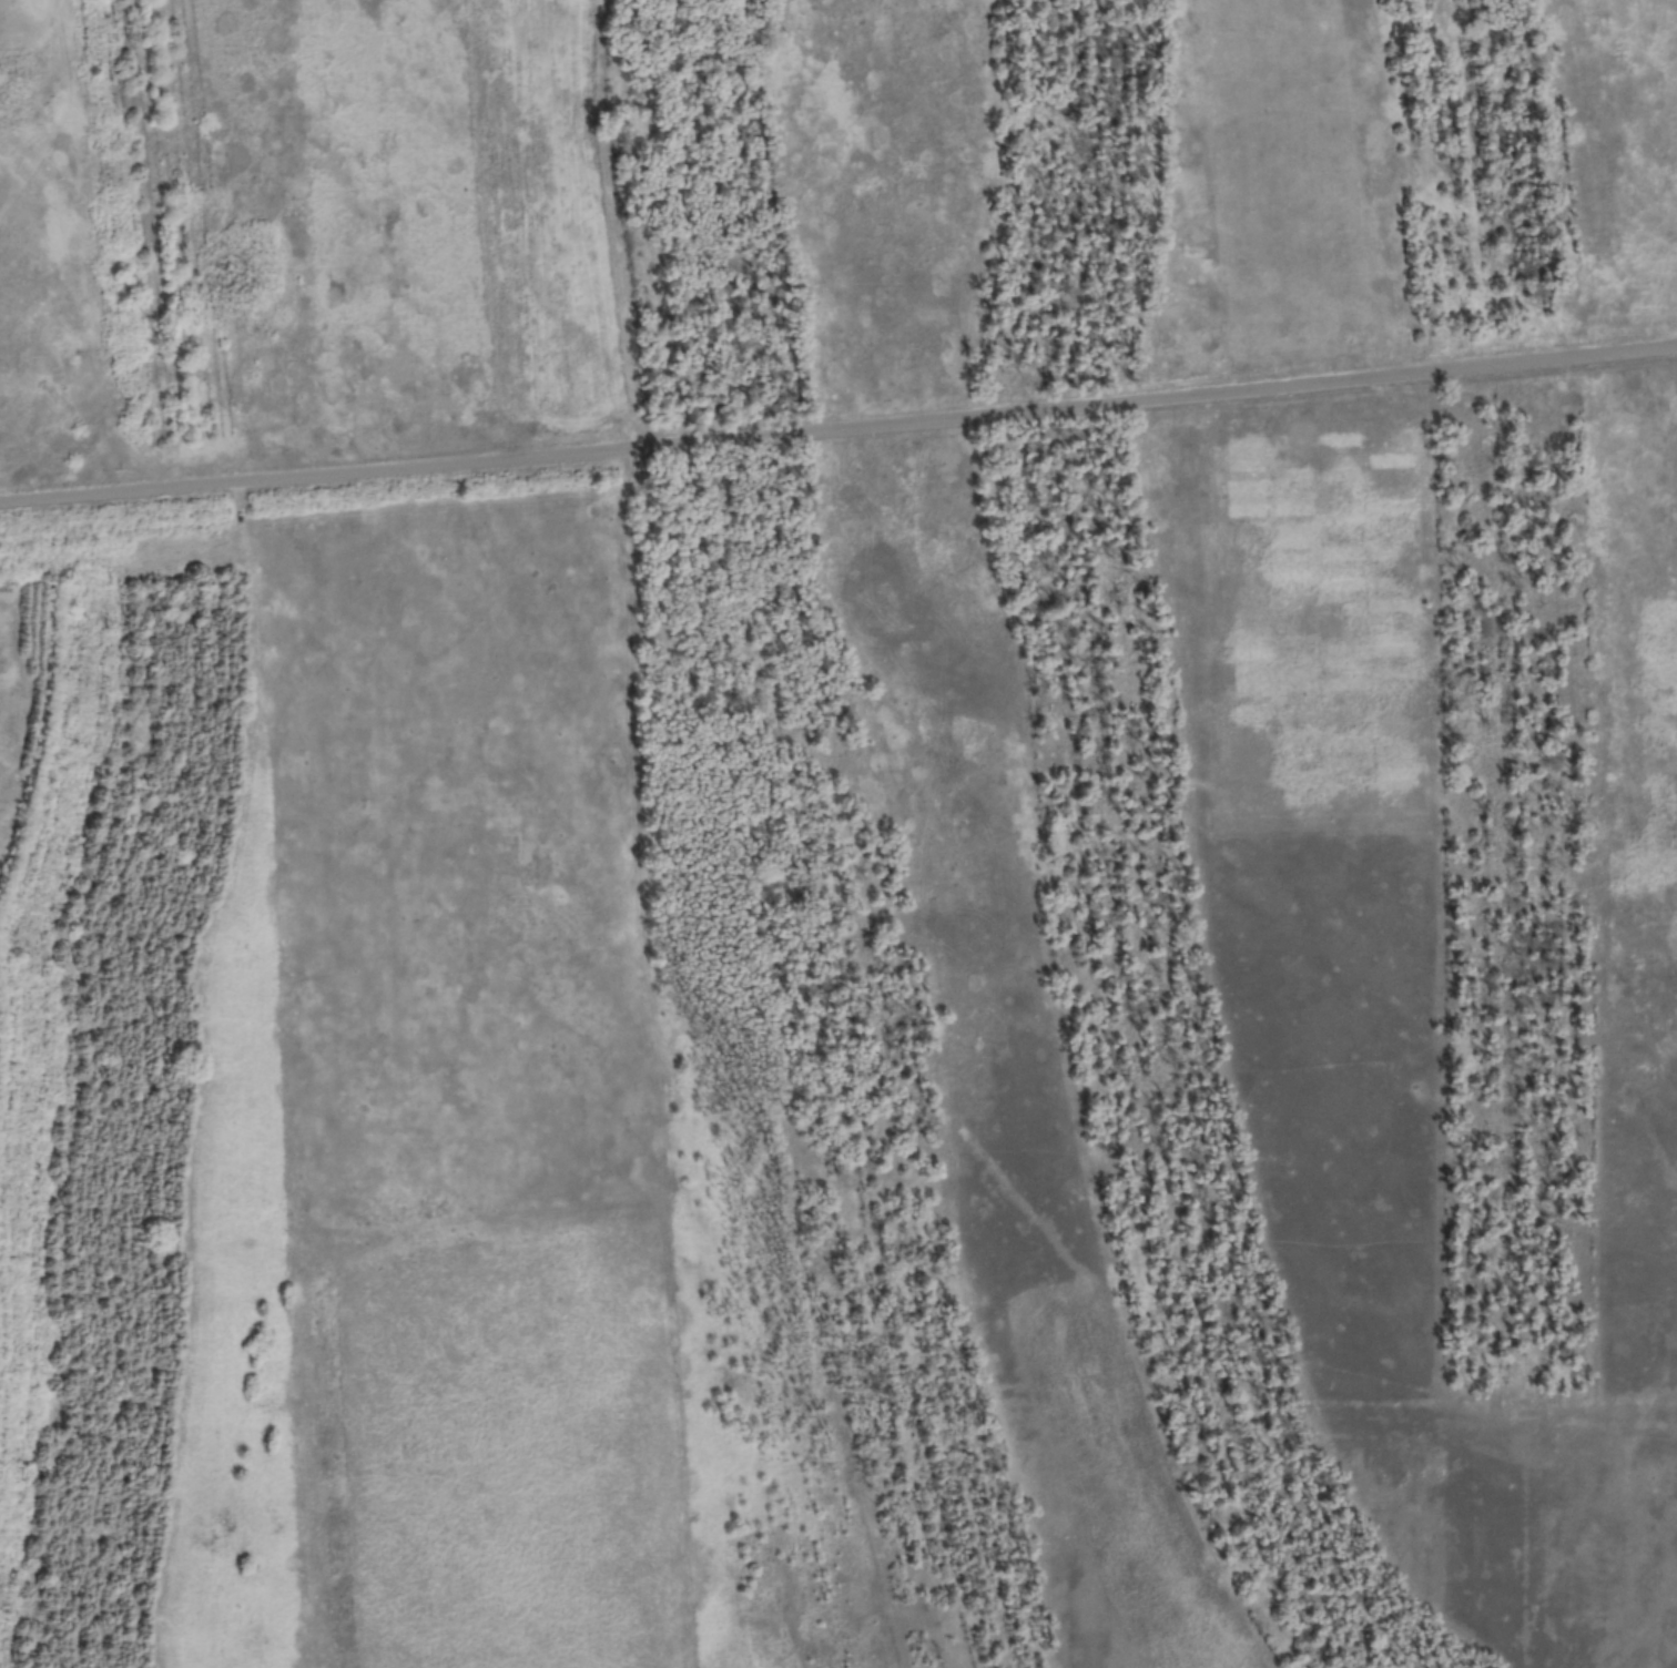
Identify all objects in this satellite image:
road: (838, 419)

